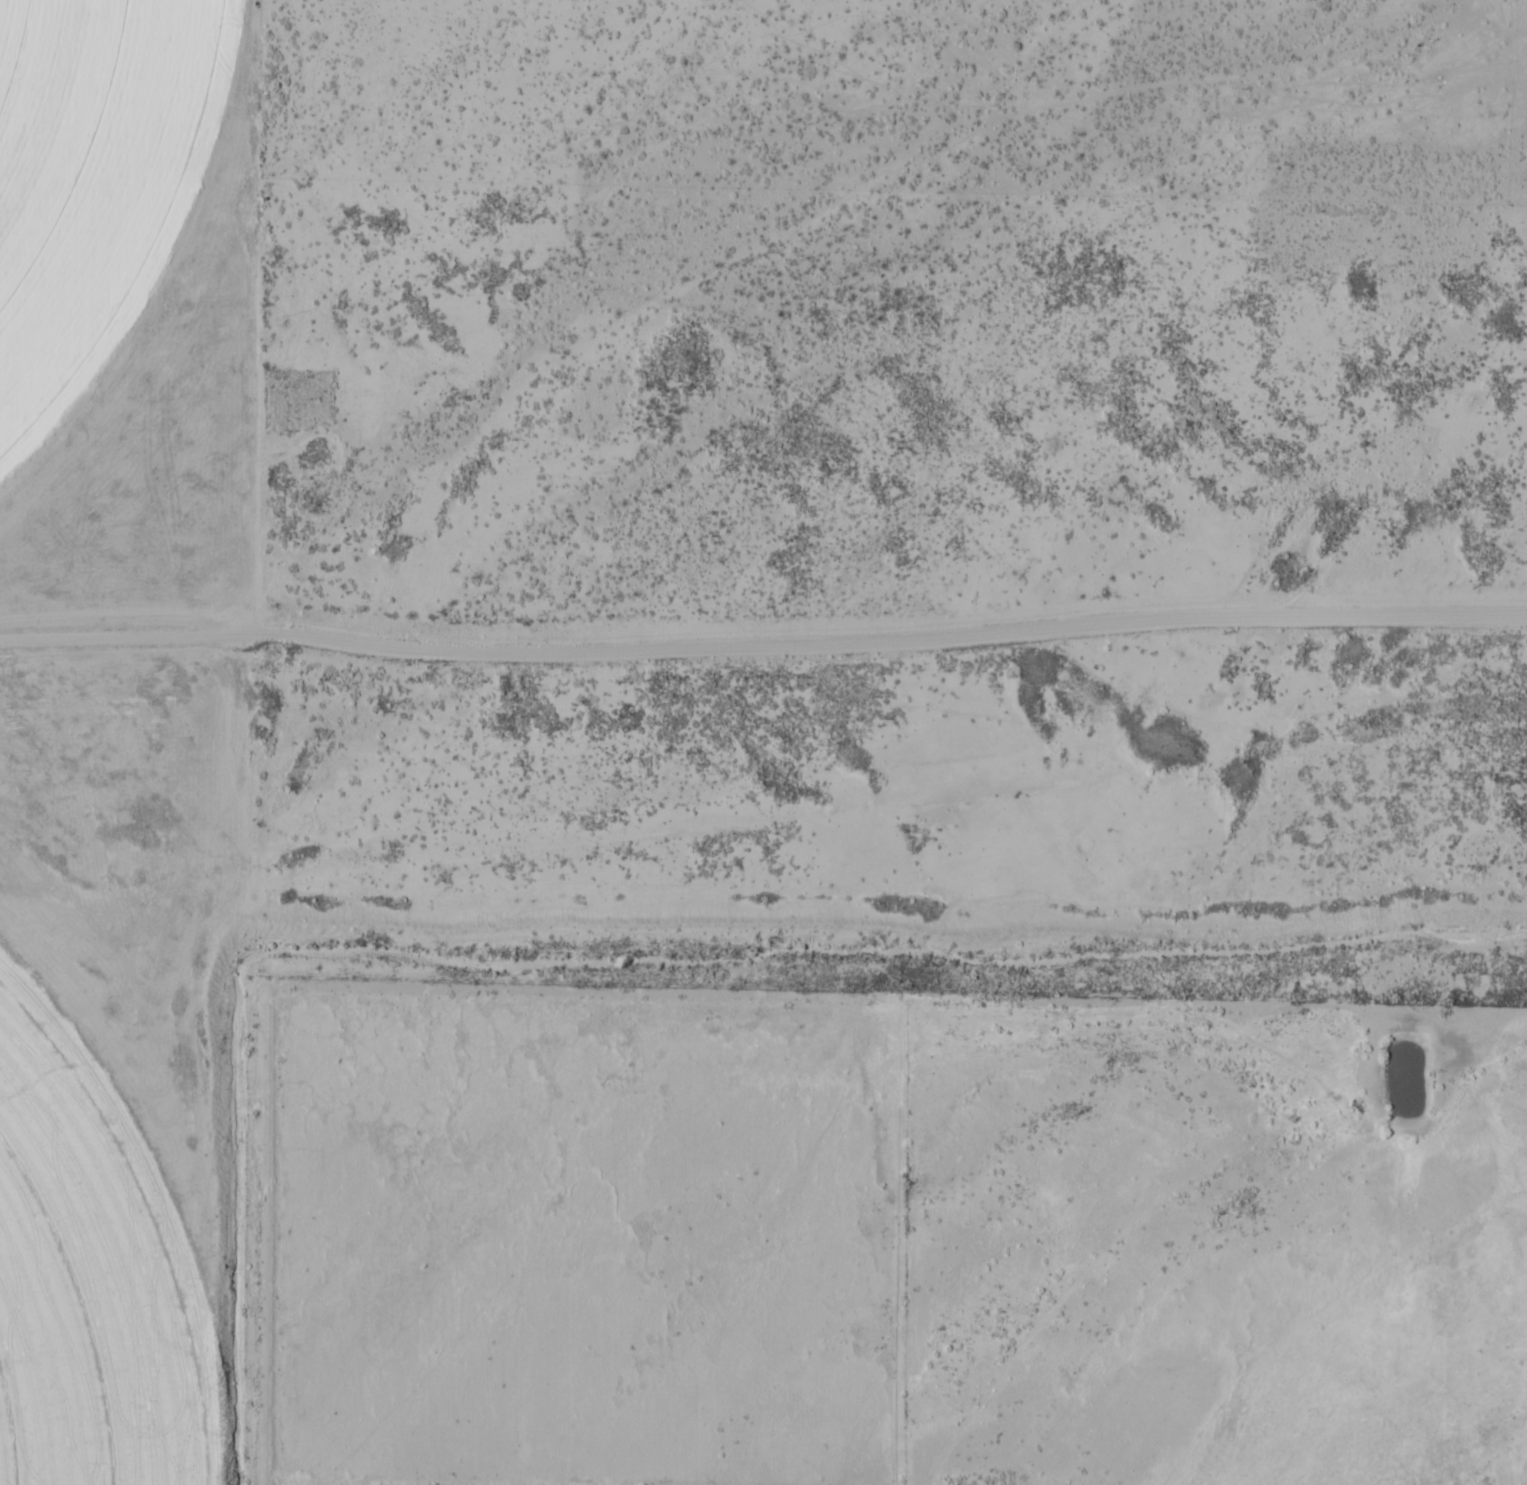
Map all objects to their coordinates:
crop: (94, 179)
road: (129, 638)
road: (892, 643)
crop: (88, 1293)
crop: (1348, 1334)

